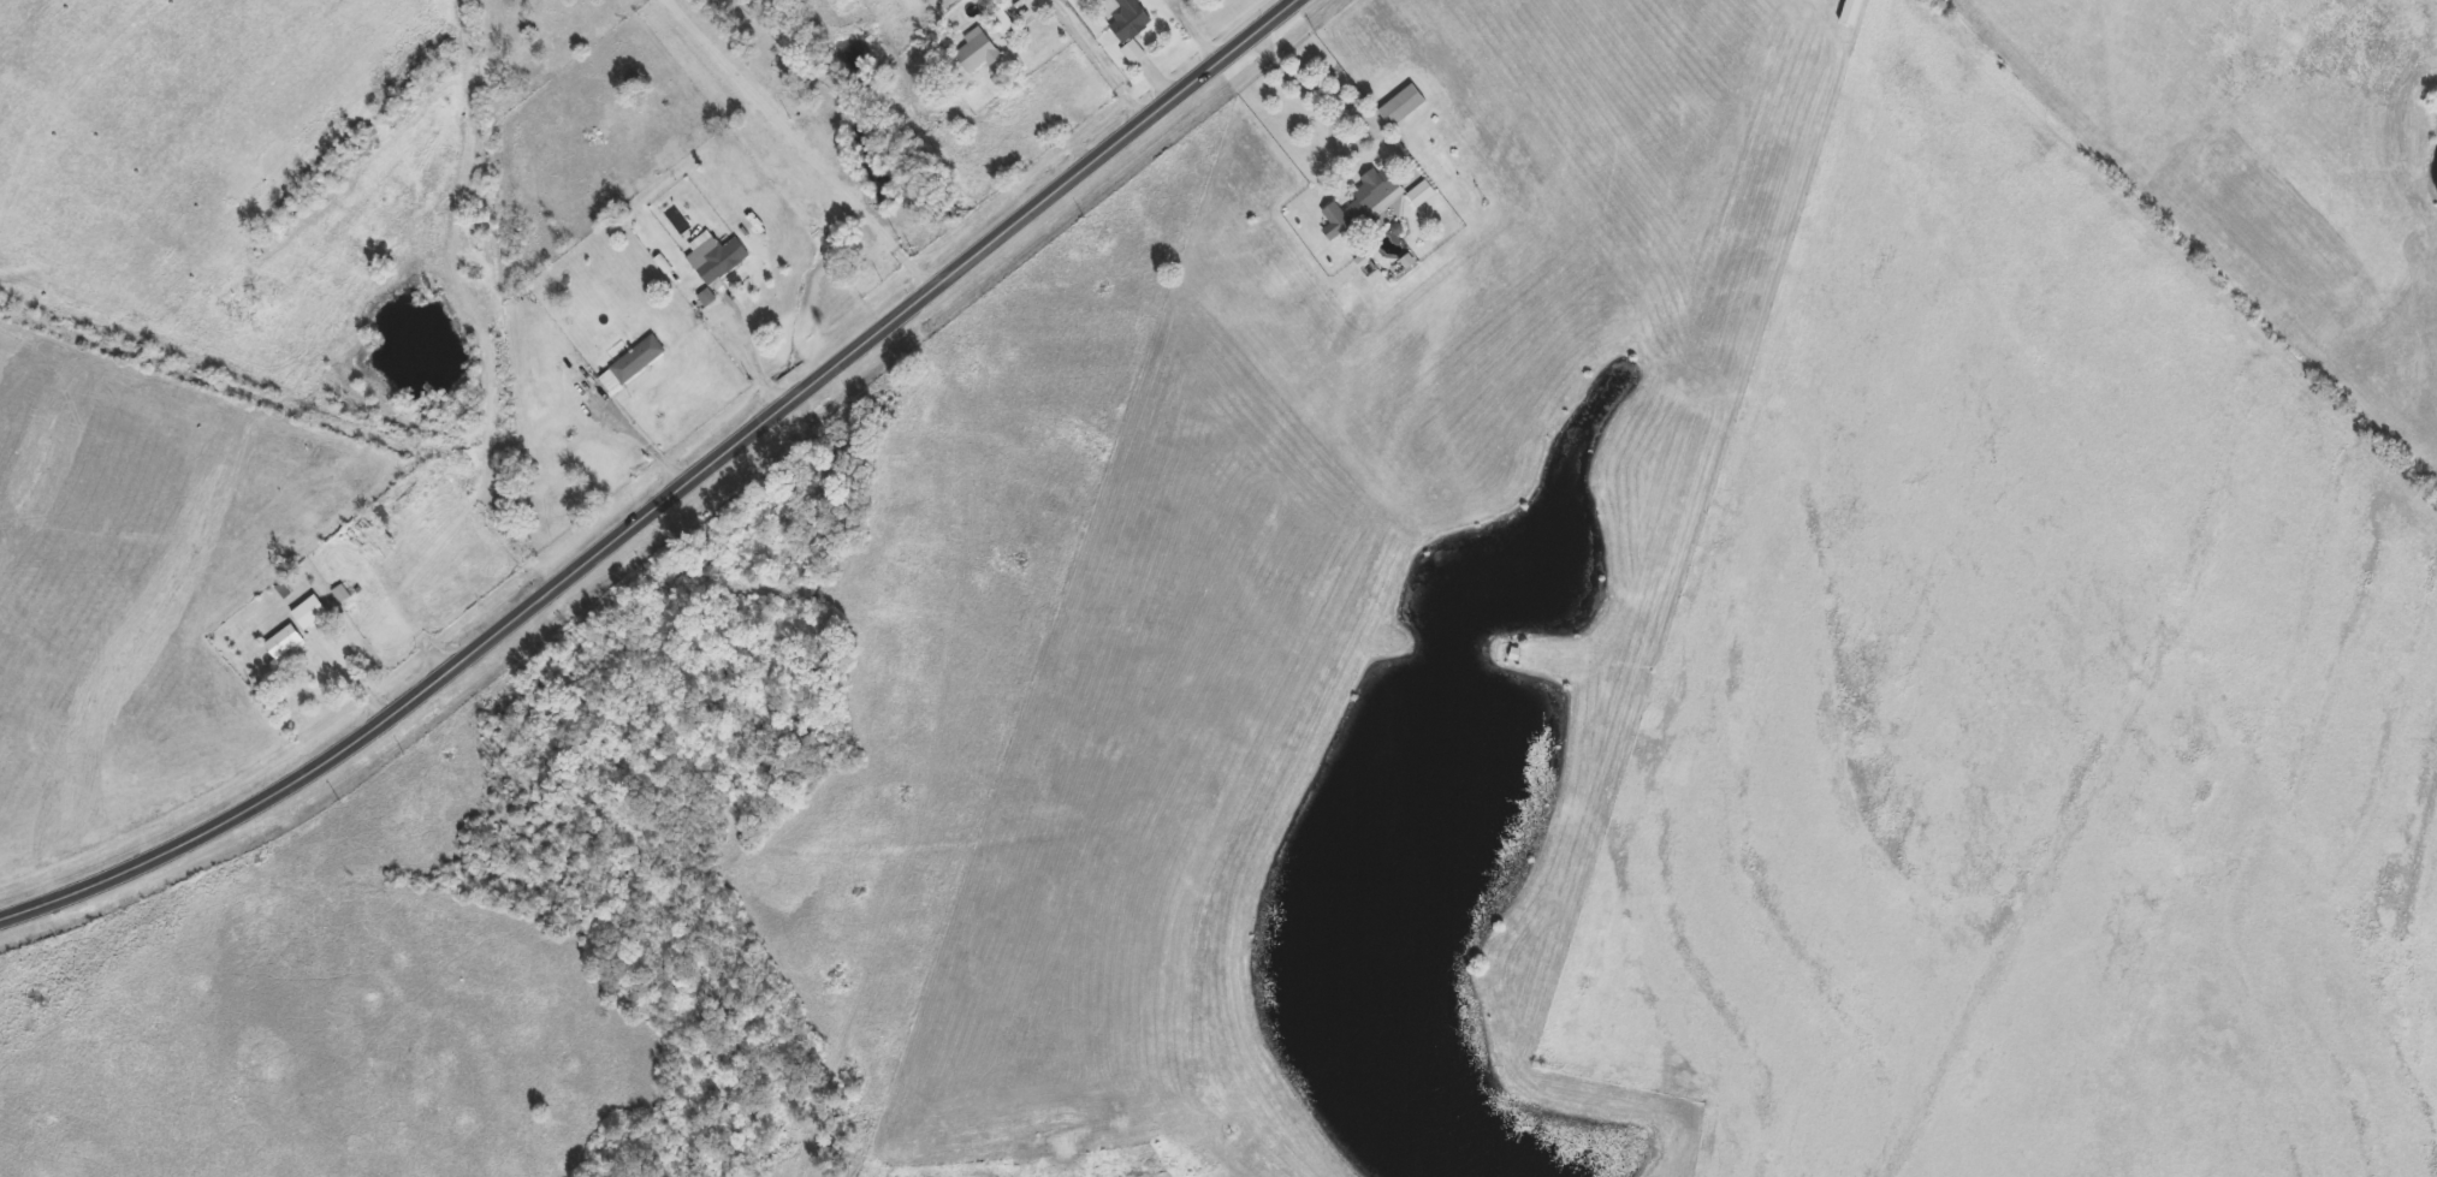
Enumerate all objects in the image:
building: (995, 1)
road: (1022, 4)
building: (1854, 12)
building: (1126, 18)
building: (1002, 22)
road: (1190, 30)
building: (978, 50)
road: (1093, 59)
building: (1403, 106)
road: (807, 142)
building: (1377, 190)
building: (1421, 194)
building: (717, 256)
road: (754, 359)
building: (633, 363)
road: (645, 444)
road: (670, 495)
building: (378, 521)
building: (312, 612)
road: (408, 620)
building: (286, 643)
road: (354, 678)

